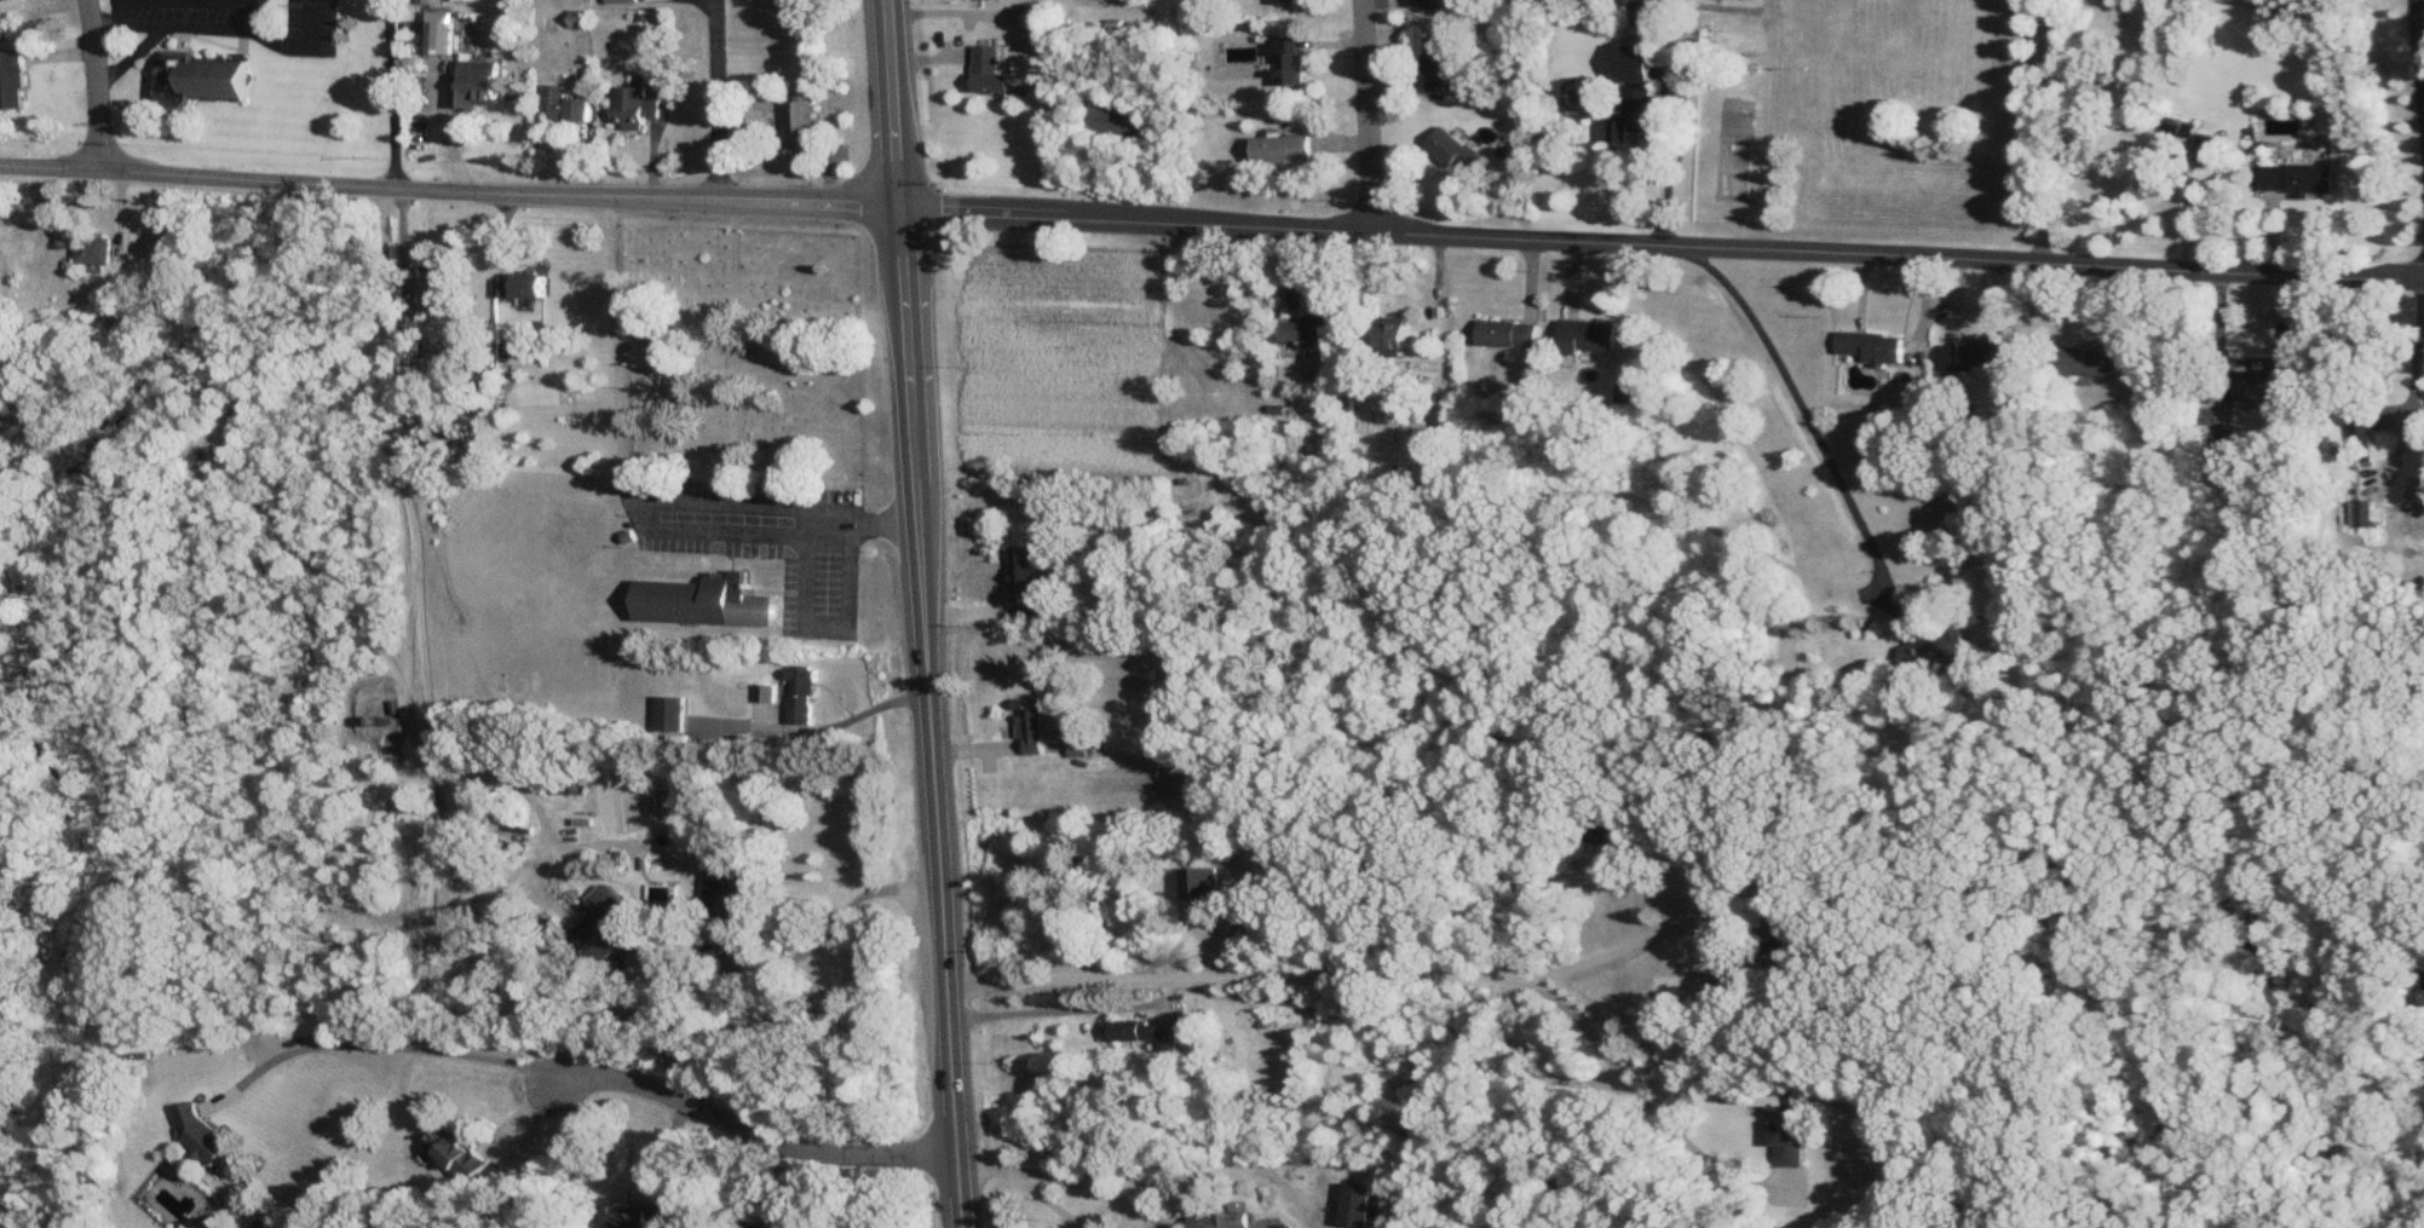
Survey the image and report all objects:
building: (986, 0)
building: (4, 1)
building: (624, 2)
building: (1284, 2)
building: (1438, 5)
building: (1651, 13)
building: (1026, 17)
road: (132, 27)
road: (224, 27)
building: (443, 34)
road: (2419, 39)
road: (305, 48)
road: (134, 54)
building: (1286, 63)
building: (1441, 64)
building: (1639, 70)
building: (990, 71)
building: (205, 77)
building: (13, 81)
road: (98, 85)
building: (478, 86)
road: (397, 94)
road: (719, 104)
building: (566, 106)
building: (637, 109)
building: (1635, 113)
road: (1374, 117)
building: (1122, 122)
building: (801, 126)
road: (2044, 131)
road: (454, 133)
road: (1767, 143)
building: (2207, 148)
building: (1284, 150)
building: (1455, 151)
road: (1672, 155)
building: (2298, 177)
road: (1211, 229)
building: (98, 252)
road: (904, 260)
building: (524, 288)
building: (438, 289)
building: (1308, 334)
building: (1395, 334)
building: (1510, 335)
building: (1590, 338)
building: (413, 341)
building: (1872, 348)
park: (766, 350)
building: (1976, 354)
building: (2089, 364)
road: (2422, 382)
building: (2257, 384)
road: (1809, 409)
building: (2218, 454)
building: (1246, 460)
road: (634, 496)
building: (2362, 514)
road: (806, 565)
building: (1029, 582)
building: (707, 603)
road: (427, 617)
building: (1936, 652)
building: (804, 686)
building: (672, 717)
building: (1030, 727)
road: (2308, 783)
building: (1597, 832)
road: (944, 874)
building: (729, 894)
building: (615, 929)
building: (1781, 935)
road: (1636, 941)
road: (793, 957)
road: (1393, 974)
road: (1043, 1010)
building: (1145, 1036)
road: (387, 1044)
road: (574, 1077)
building: (1785, 1128)
building: (201, 1135)
road: (770, 1135)
building: (459, 1157)
road: (974, 1157)
building: (1824, 1174)
road: (1083, 1186)
road: (1038, 1190)
building: (649, 1218)
building: (1230, 1220)
building: (267, 1224)
building: (758, 1226)

